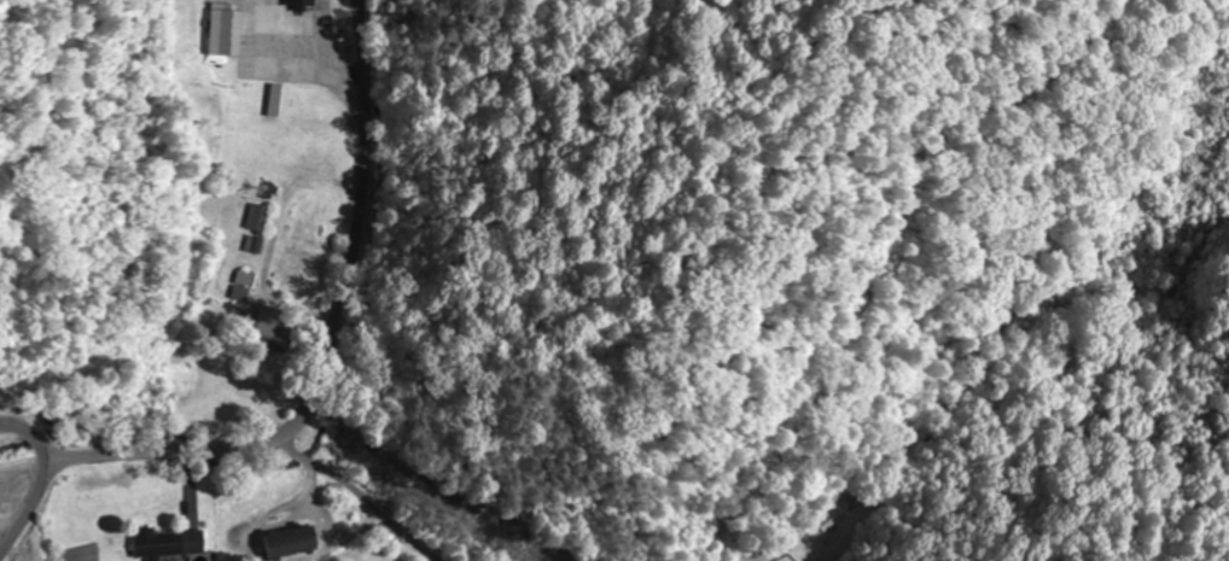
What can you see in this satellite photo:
building: (298, 5)
building: (223, 29)
road: (363, 30)
road: (367, 99)
road: (372, 177)
building: (257, 218)
building: (243, 286)
building: (272, 329)
road: (285, 446)
road: (39, 480)
road: (357, 501)
building: (290, 542)
building: (167, 543)

